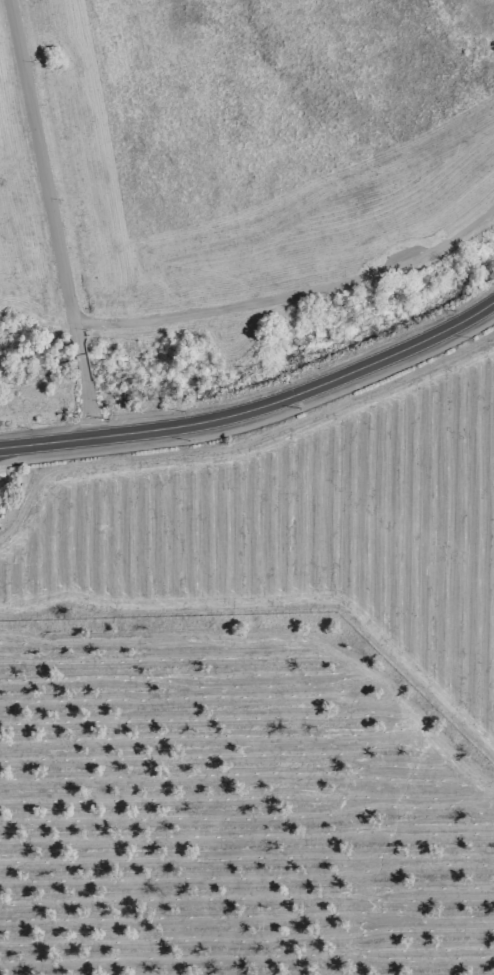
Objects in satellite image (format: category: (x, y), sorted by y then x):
road: (36, 156)
road: (290, 289)
road: (81, 369)
road: (257, 396)

